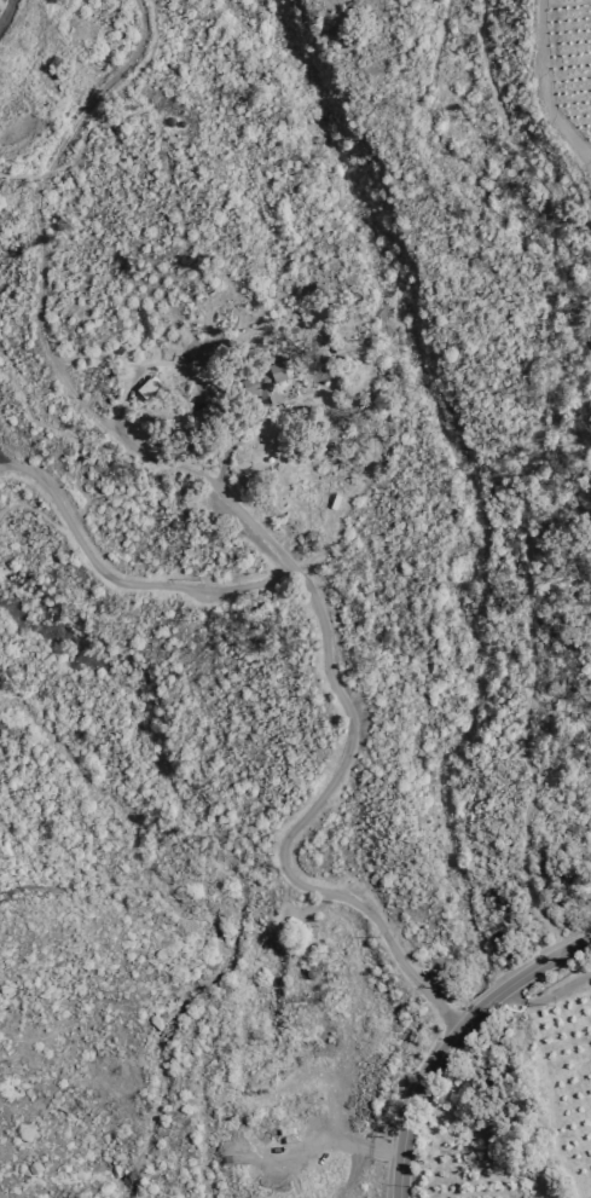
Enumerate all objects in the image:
road: (7, 15)
road: (109, 118)
building: (169, 121)
storage tank: (169, 121)
building: (180, 122)
storage tank: (180, 122)
road: (41, 274)
building: (120, 349)
building: (312, 377)
building: (261, 380)
building: (147, 384)
road: (126, 392)
road: (16, 461)
road: (76, 463)
road: (220, 465)
road: (528, 471)
road: (121, 580)
road: (328, 789)
road: (145, 880)
road: (546, 996)
road: (456, 1038)

